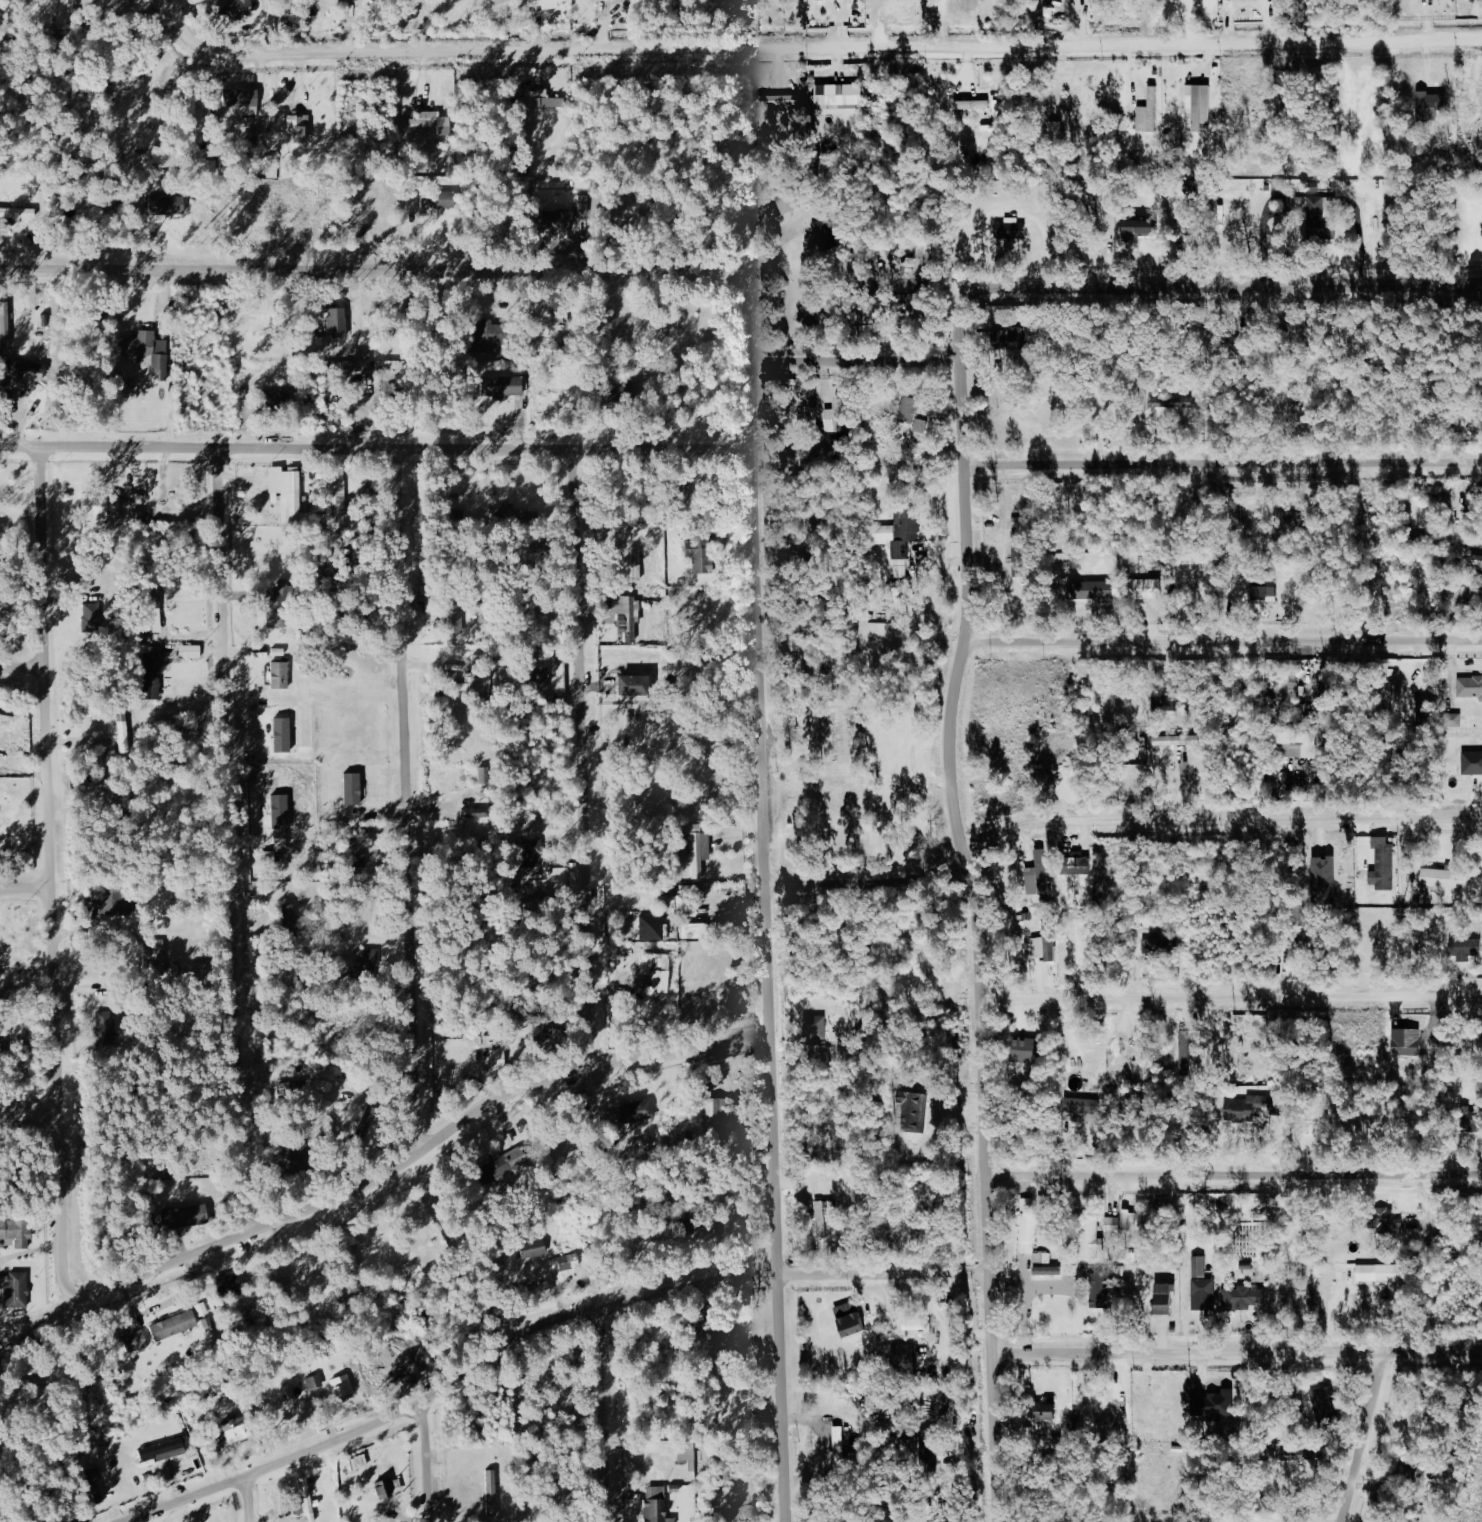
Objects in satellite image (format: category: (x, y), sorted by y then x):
building: (613, 0)
building: (546, 4)
building: (236, 8)
road: (177, 21)
road: (835, 47)
building: (241, 98)
building: (839, 98)
building: (777, 99)
building: (537, 102)
building: (973, 104)
building: (1427, 105)
building: (1200, 106)
building: (1149, 112)
building: (432, 122)
building: (1058, 128)
building: (299, 129)
building: (273, 169)
building: (438, 200)
building: (788, 201)
building: (18, 213)
road: (1012, 213)
building: (1317, 220)
building: (557, 222)
building: (1187, 226)
building: (1138, 229)
building: (1012, 230)
building: (826, 234)
road: (1361, 237)
road: (768, 253)
road: (366, 272)
road: (1222, 286)
building: (922, 308)
building: (865, 309)
building: (337, 322)
building: (1032, 335)
building: (1011, 337)
building: (483, 338)
building: (148, 350)
road: (856, 360)
building: (364, 361)
road: (750, 362)
building: (29, 370)
building: (503, 387)
building: (1176, 403)
building: (907, 409)
building: (835, 412)
building: (921, 425)
road: (375, 450)
road: (1223, 460)
building: (288, 495)
building: (100, 505)
building: (336, 505)
building: (1237, 505)
building: (1477, 510)
building: (515, 514)
building: (897, 536)
building: (1021, 548)
building: (1478, 561)
building: (637, 564)
building: (1119, 589)
building: (1267, 592)
building: (1467, 593)
building: (276, 613)
building: (152, 614)
building: (91, 617)
building: (455, 619)
road: (1224, 641)
building: (190, 652)
road: (23, 664)
building: (152, 674)
building: (279, 676)
building: (452, 679)
building: (541, 680)
building: (633, 686)
building: (1470, 686)
building: (475, 687)
building: (0, 720)
building: (1454, 720)
building: (123, 731)
road: (762, 740)
building: (1178, 740)
building: (1296, 744)
road: (588, 760)
building: (1472, 763)
building: (482, 776)
building: (352, 789)
road: (408, 802)
road: (1116, 819)
road: (232, 842)
building: (697, 847)
building: (530, 851)
road: (52, 863)
building: (1081, 866)
building: (1387, 866)
building: (1039, 875)
building: (1446, 878)
building: (1325, 881)
road: (26, 886)
building: (116, 900)
road: (973, 902)
building: (652, 927)
building: (1160, 944)
building: (1039, 946)
building: (1466, 947)
building: (364, 959)
building: (655, 973)
road: (1232, 996)
building: (108, 1024)
building: (817, 1026)
building: (1, 1047)
building: (1025, 1049)
building: (1186, 1052)
building: (498, 1056)
building: (1118, 1062)
road: (29, 1106)
building: (1253, 1107)
building: (917, 1109)
building: (1083, 1109)
building: (639, 1110)
building: (1471, 1118)
road: (413, 1159)
building: (518, 1160)
road: (1235, 1175)
building: (184, 1217)
building: (1128, 1218)
building: (1388, 1218)
building: (822, 1219)
building: (1114, 1229)
building: (16, 1233)
building: (1029, 1233)
building: (347, 1237)
building: (1089, 1238)
building: (532, 1245)
building: (569, 1261)
building: (1046, 1264)
building: (313, 1265)
building: (1200, 1266)
building: (1383, 1275)
road: (778, 1278)
building: (228, 1284)
building: (1204, 1287)
building: (13, 1290)
building: (1166, 1293)
building: (1100, 1295)
building: (1247, 1297)
road: (51, 1312)
building: (851, 1318)
building: (917, 1323)
road: (943, 1324)
building: (173, 1325)
road: (538, 1329)
building: (136, 1342)
road: (1237, 1353)
building: (904, 1358)
building: (316, 1386)
building: (341, 1386)
building: (295, 1393)
building: (1221, 1403)
building: (1325, 1403)
building: (1045, 1410)
road: (607, 1415)
building: (237, 1429)
road: (1364, 1438)
building: (930, 1446)
building: (840, 1449)
building: (165, 1450)
road: (428, 1462)
building: (96, 1486)
building: (388, 1488)
building: (492, 1493)
road: (250, 1498)
building: (656, 1505)

